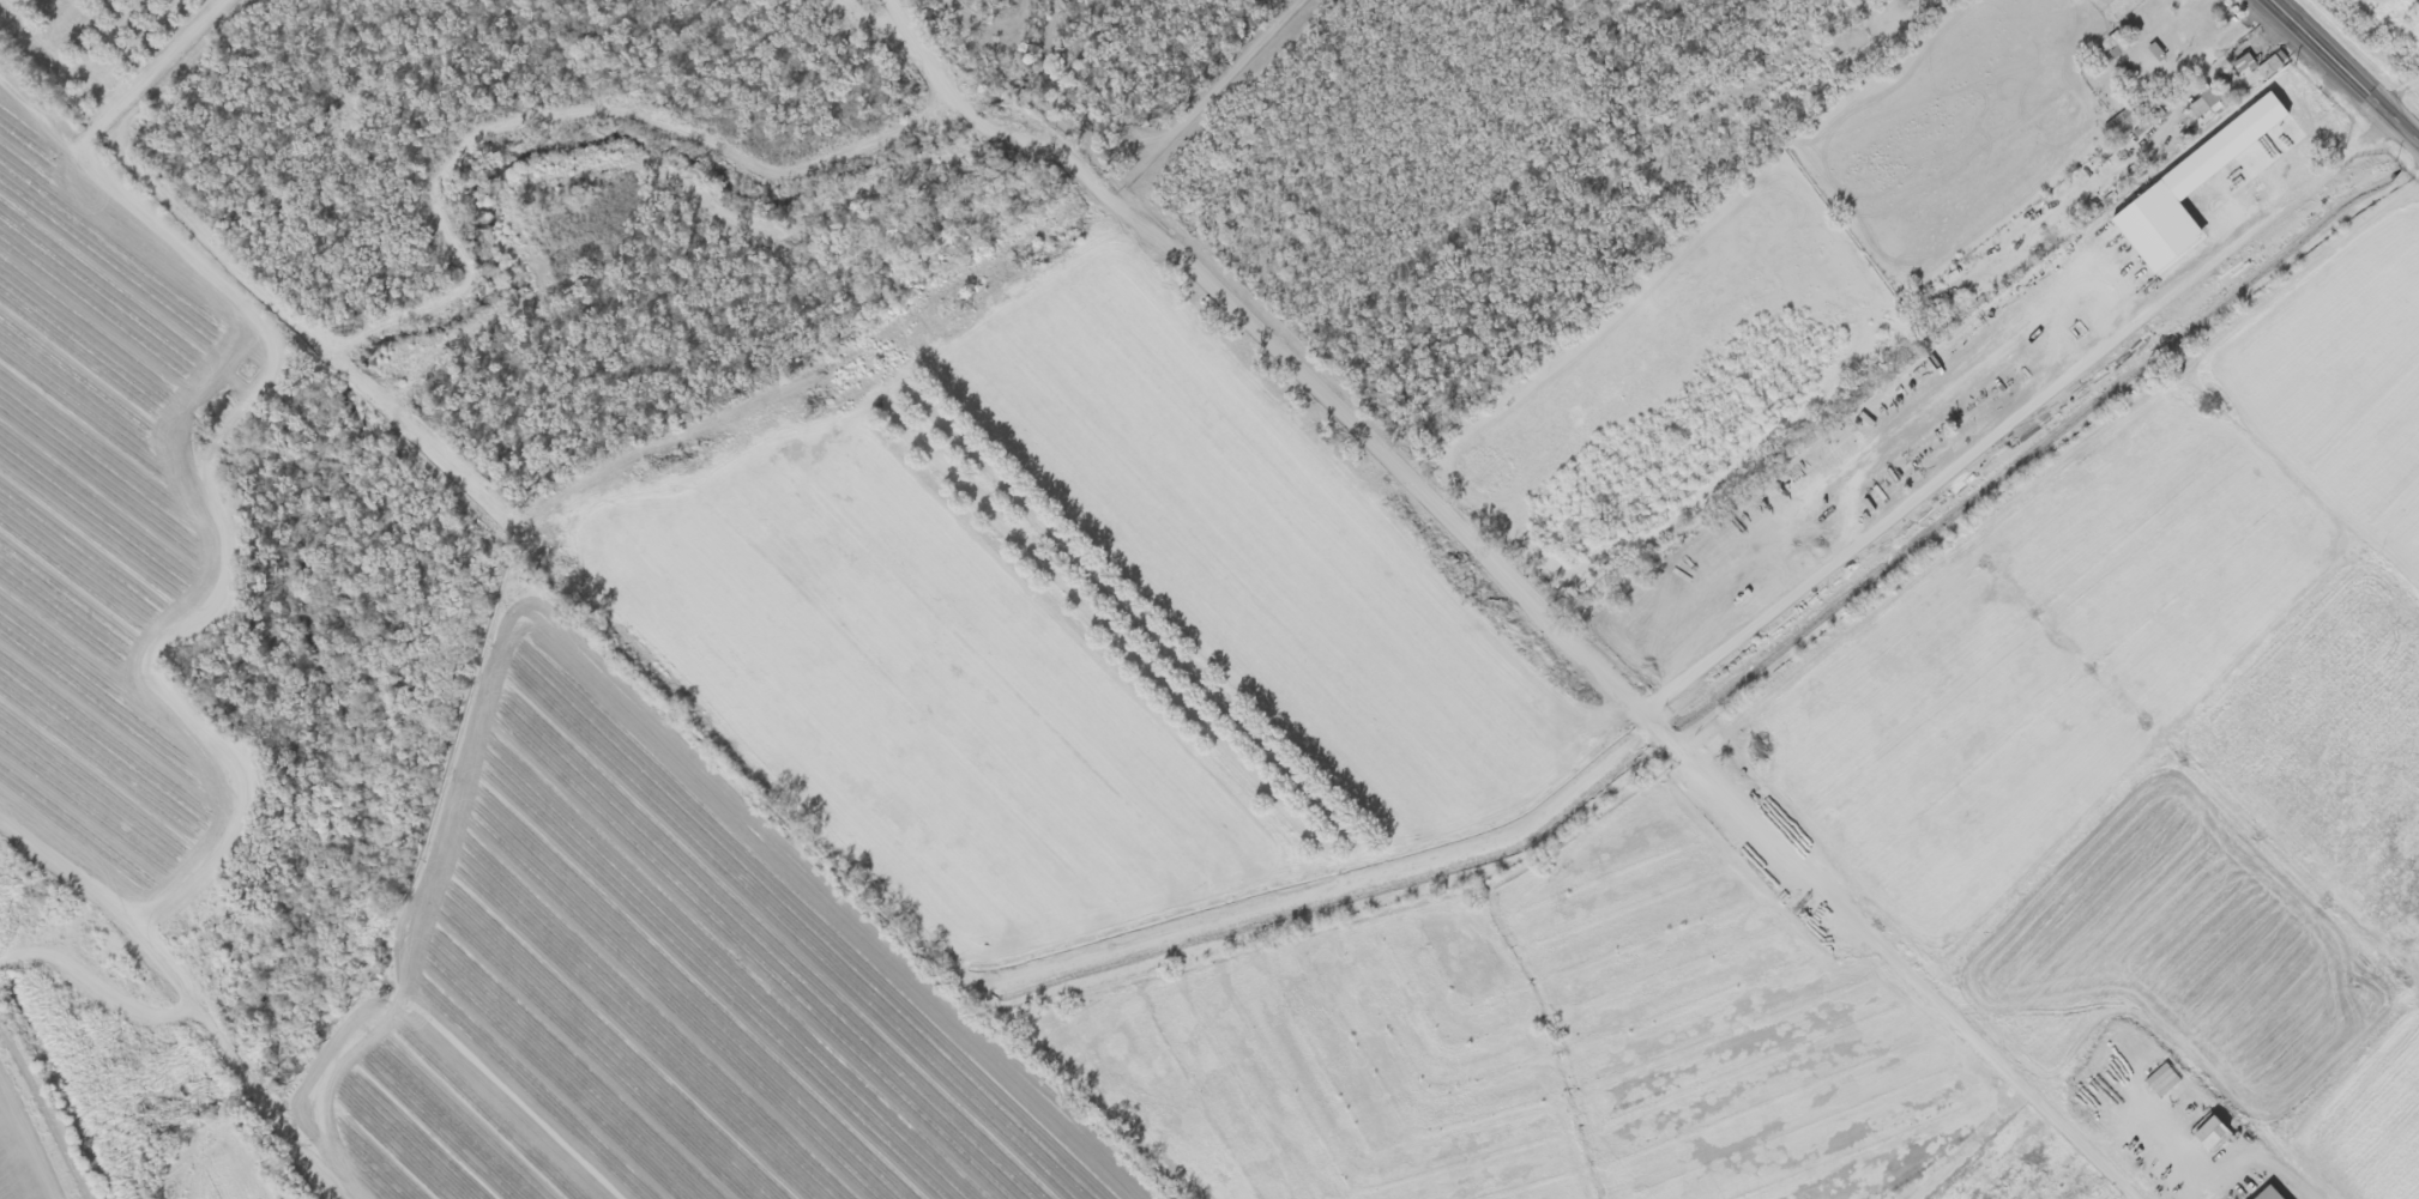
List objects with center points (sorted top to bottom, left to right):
road: (1747, 10)
building: (2103, 50)
road: (168, 61)
building: (2238, 65)
building: (2263, 68)
road: (2342, 72)
building: (2118, 121)
road: (64, 951)
road: (177, 999)
building: (2262, 1194)

